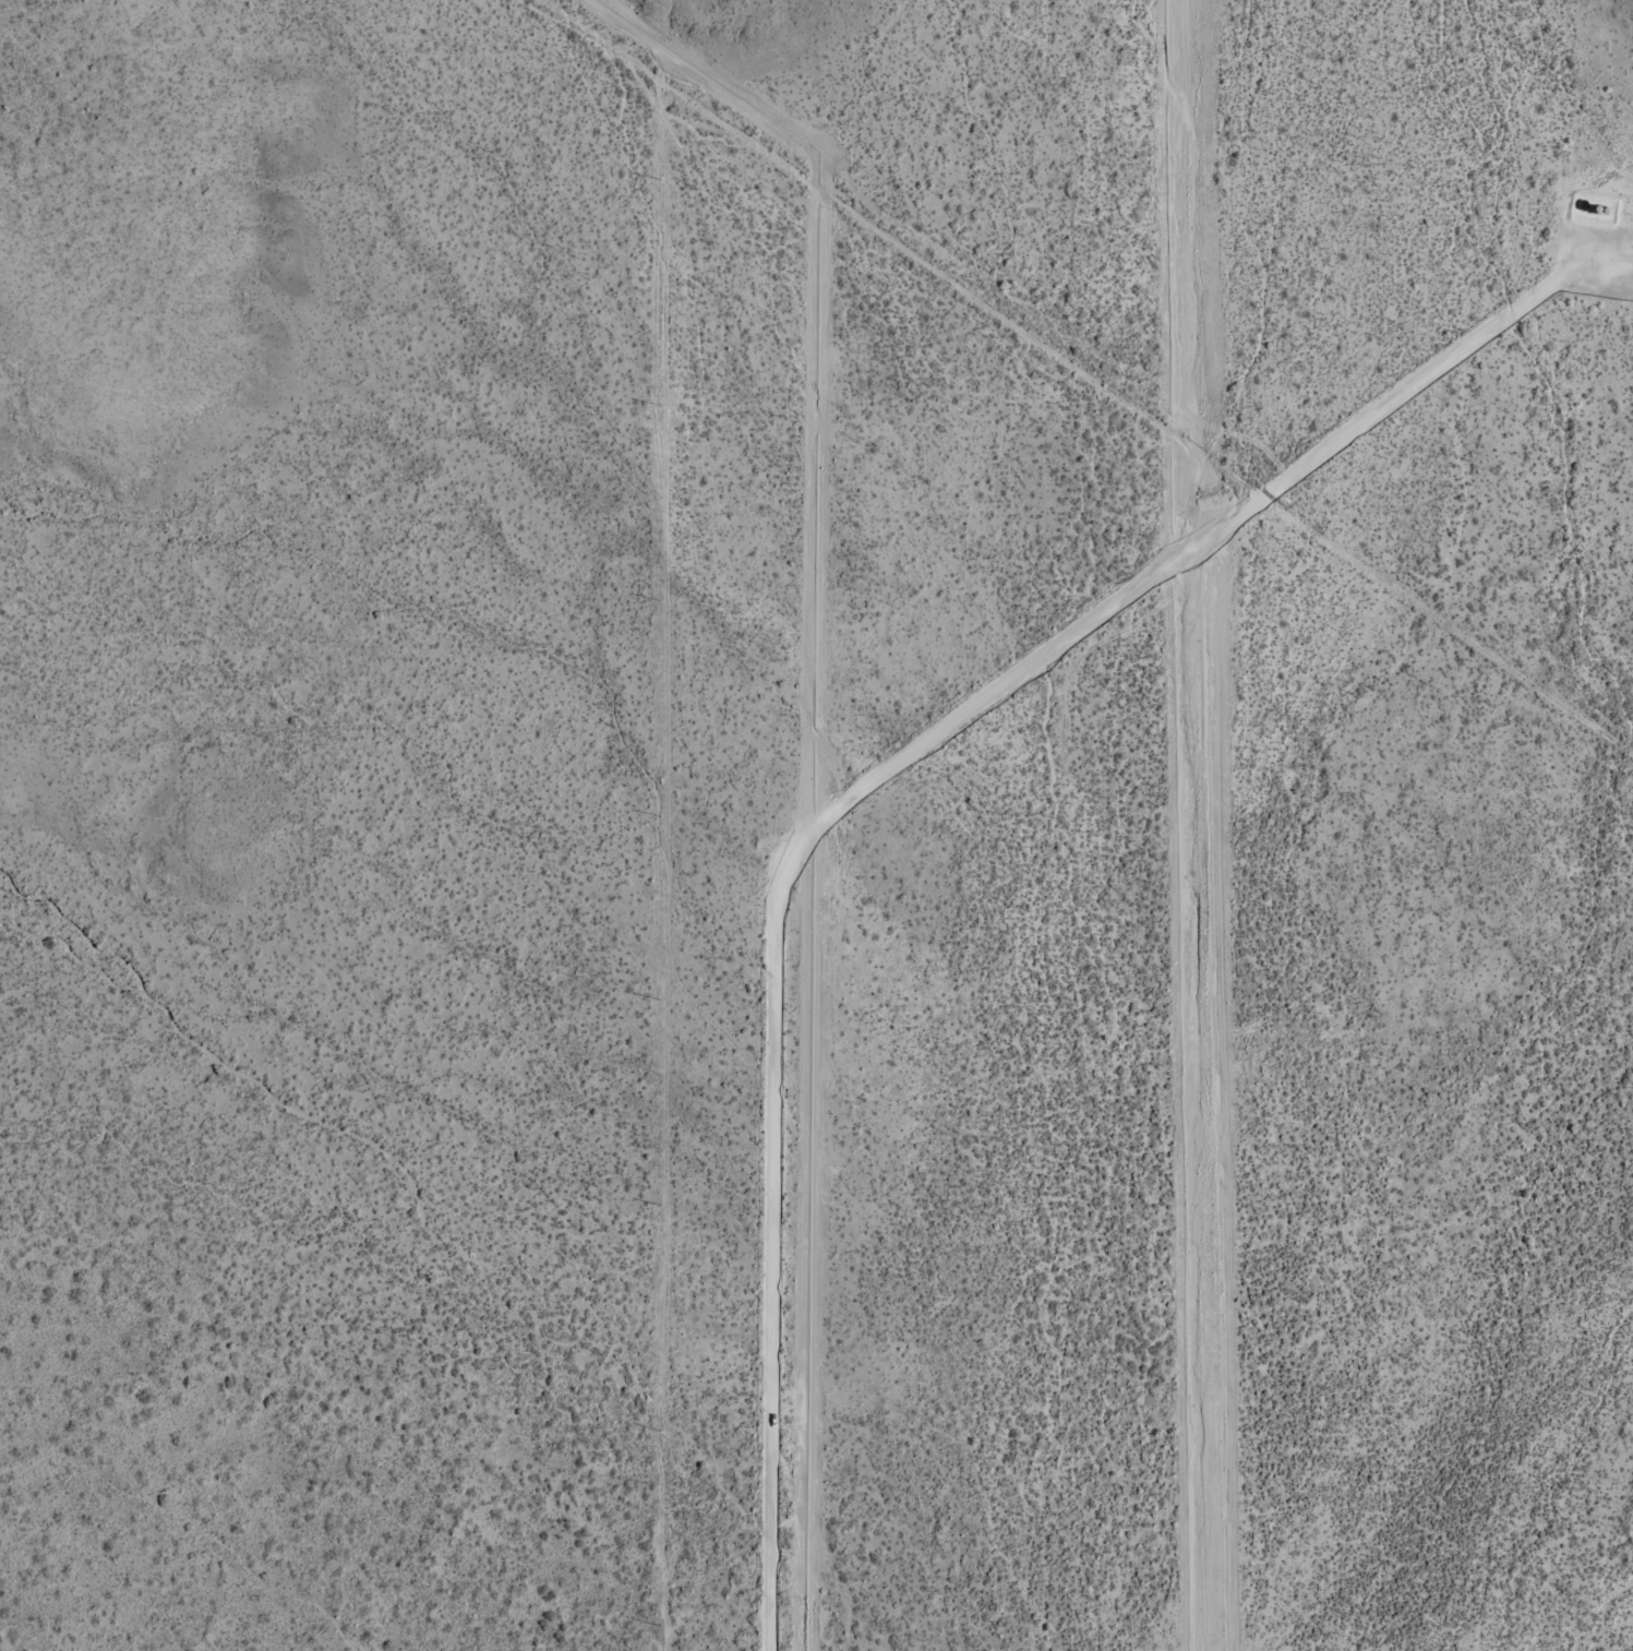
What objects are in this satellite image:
road: (873, 776)

